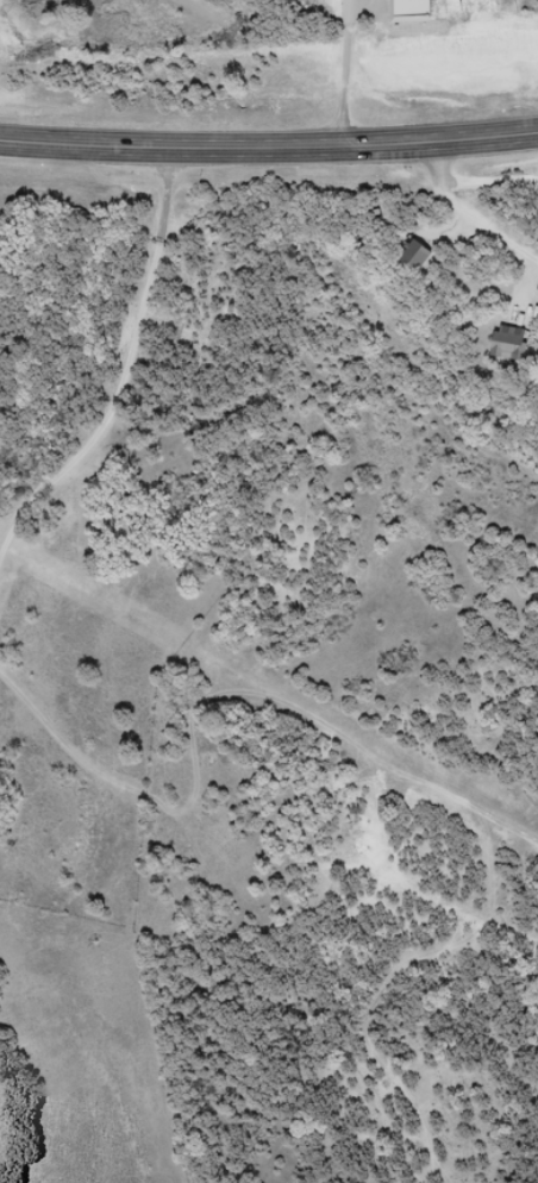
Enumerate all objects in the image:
road: (269, 144)
road: (489, 186)
road: (470, 207)
building: (412, 257)
building: (507, 342)
road: (139, 374)
road: (237, 843)

